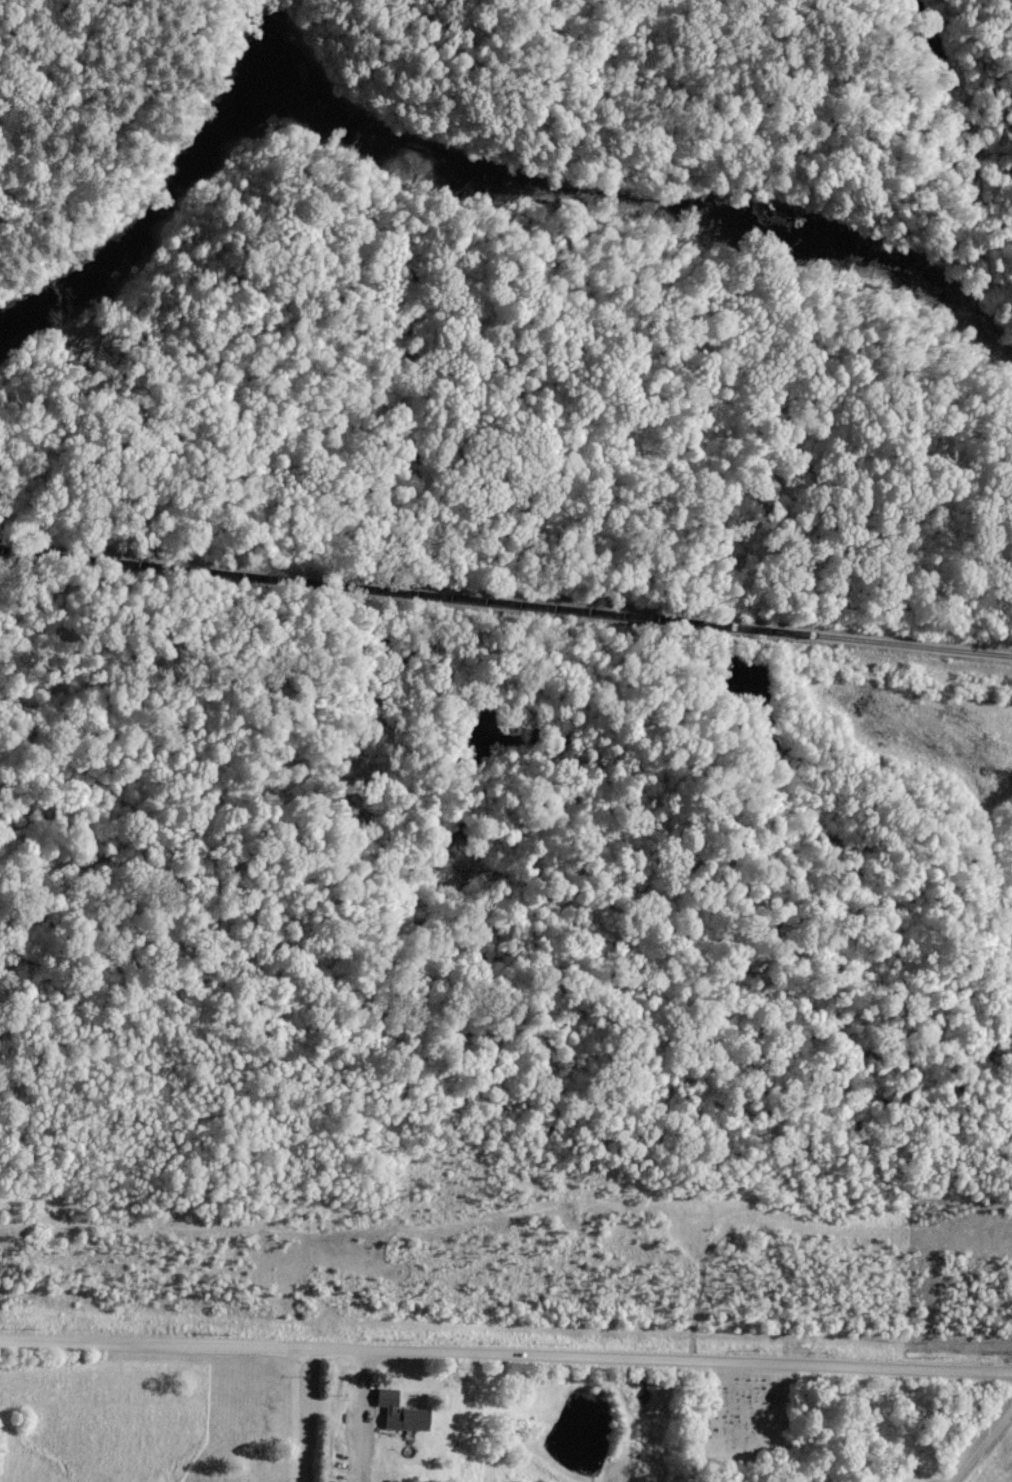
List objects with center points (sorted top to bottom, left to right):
railway: (505, 603)
road: (505, 1354)
building: (401, 1412)
road: (296, 1415)
road: (364, 1416)
road: (983, 1447)

